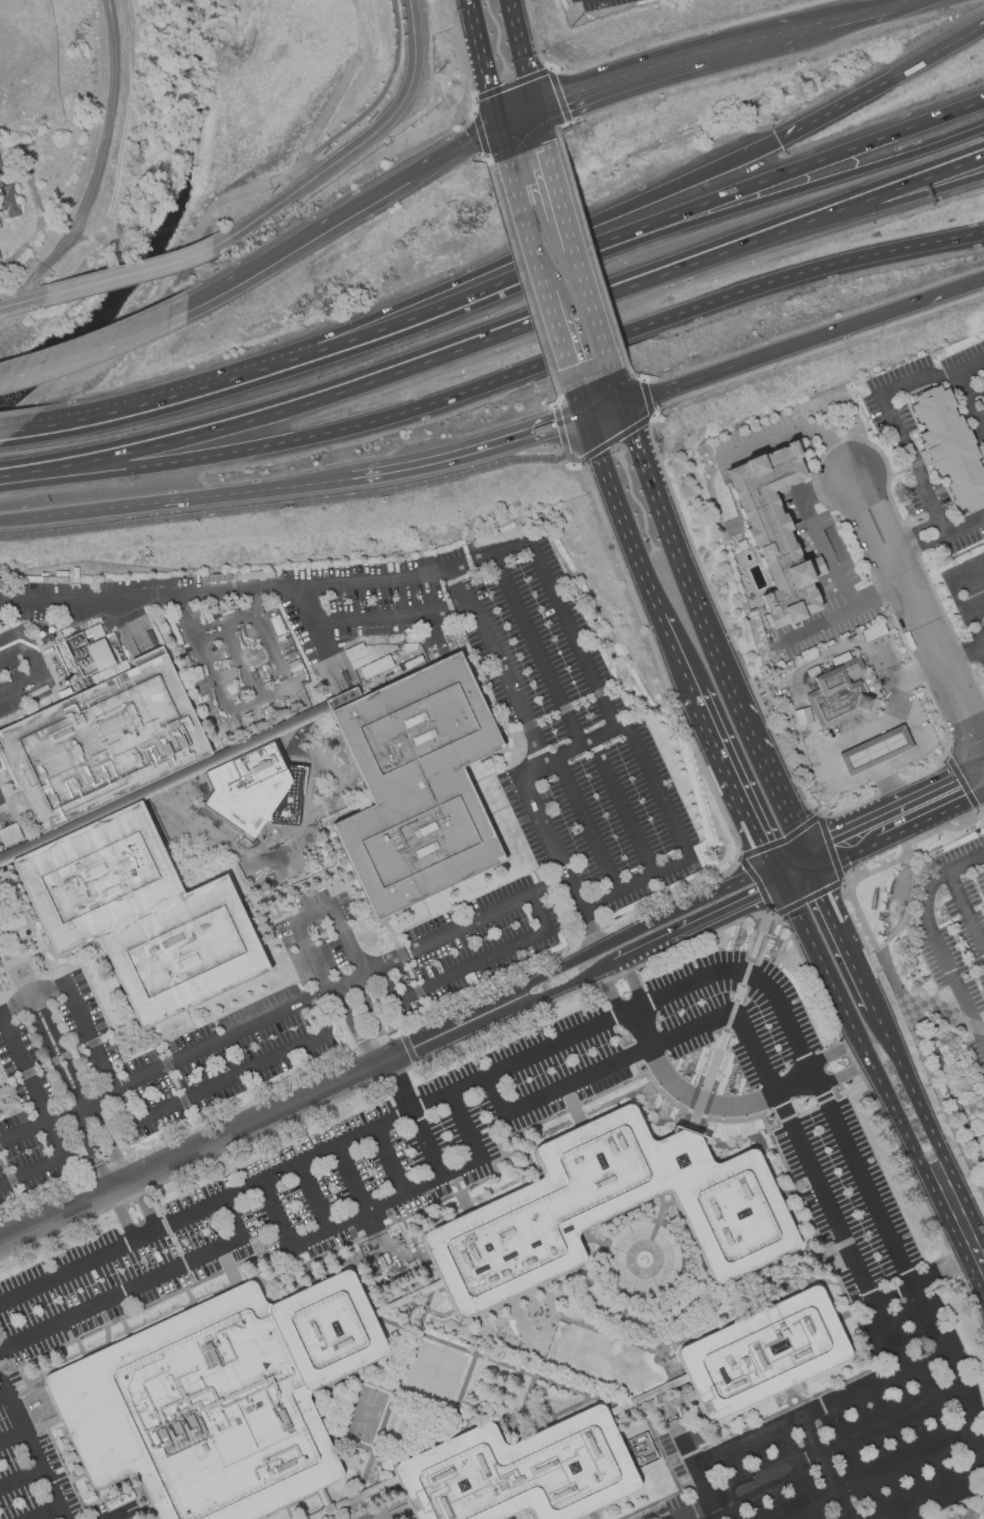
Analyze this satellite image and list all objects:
road: (904, 3)
road: (848, 18)
road: (527, 55)
road: (485, 64)
road: (671, 67)
road: (882, 83)
road: (334, 101)
road: (377, 109)
road: (395, 109)
traffic signals: (541, 111)
road: (521, 120)
crop: (51, 127)
road: (545, 128)
traffic signals: (501, 129)
traffic signals: (779, 140)
road: (504, 145)
road: (935, 165)
road: (122, 169)
road: (935, 171)
road: (560, 180)
road: (875, 204)
road: (262, 212)
road: (827, 212)
road: (341, 213)
road: (660, 219)
river: (161, 229)
road: (557, 239)
road: (617, 254)
road: (132, 269)
road: (542, 274)
road: (953, 290)
road: (593, 294)
road: (23, 298)
road: (143, 313)
road: (95, 346)
road: (775, 352)
road: (293, 360)
road: (388, 375)
building: (982, 379)
road: (497, 381)
road: (623, 387)
road: (971, 399)
building: (981, 399)
road: (583, 400)
traffic signals: (628, 402)
road: (607, 407)
road: (135, 408)
traffic signals: (587, 413)
road: (632, 415)
road: (895, 418)
road: (798, 427)
traffic signals: (637, 428)
road: (593, 432)
road: (9, 433)
building: (948, 446)
traffic signals: (600, 452)
road: (456, 455)
road: (307, 482)
road: (324, 501)
road: (162, 502)
road: (15, 520)
building: (780, 521)
road: (964, 526)
road: (815, 530)
road: (912, 532)
road: (918, 546)
road: (684, 565)
road: (644, 574)
road: (268, 587)
road: (953, 591)
road: (393, 615)
road: (843, 615)
road: (919, 615)
road: (314, 621)
road: (572, 633)
road: (270, 636)
road: (19, 645)
road: (236, 645)
road: (537, 649)
road: (962, 649)
road: (200, 653)
road: (827, 657)
building: (366, 660)
road: (499, 665)
road: (916, 671)
road: (43, 676)
building: (838, 693)
road: (261, 700)
building: (801, 716)
road: (862, 732)
road: (572, 749)
building: (873, 750)
gas station: (873, 750)
road: (885, 767)
road: (772, 780)
building: (421, 783)
road: (737, 787)
road: (657, 792)
road: (892, 792)
road: (930, 800)
road: (622, 808)
parking lot: (4, 815)
road: (588, 825)
building: (129, 842)
road: (551, 842)
road: (842, 842)
traffic signals: (808, 859)
parking lot: (616, 860)
road: (793, 869)
traffic signals: (779, 880)
road: (634, 885)
road: (821, 891)
road: (966, 911)
road: (466, 922)
road: (337, 923)
road: (698, 927)
road: (634, 931)
parking lot: (956, 934)
road: (934, 940)
road: (309, 955)
road: (886, 966)
road: (857, 972)
road: (725, 973)
road: (633, 984)
road: (557, 993)
road: (612, 994)
road: (31, 1000)
road: (370, 1011)
road: (945, 1014)
road: (352, 1027)
road: (89, 1038)
road: (203, 1049)
road: (63, 1050)
road: (718, 1053)
road: (830, 1055)
road: (50, 1056)
road: (838, 1075)
road: (228, 1078)
road: (30, 1083)
road: (399, 1087)
road: (880, 1093)
road: (700, 1100)
road: (249, 1122)
road: (464, 1127)
road: (23, 1131)
road: (930, 1133)
road: (109, 1140)
road: (426, 1145)
road: (90, 1148)
road: (388, 1163)
road: (34, 1172)
road: (351, 1180)
road: (816, 1182)
road: (313, 1198)
road: (143, 1203)
building: (613, 1212)
road: (120, 1214)
road: (352, 1219)
parking lot: (206, 1244)
road: (973, 1255)
road: (918, 1281)
road: (138, 1286)
road: (858, 1310)
building: (768, 1352)
road: (1, 1397)
building: (221, 1402)
park: (365, 1416)
road: (9, 1437)
road: (27, 1450)
road: (824, 1467)
building: (524, 1471)
road: (872, 1473)
road: (964, 1477)
road: (19, 1480)
road: (46, 1514)
parking lot: (369, 1515)

